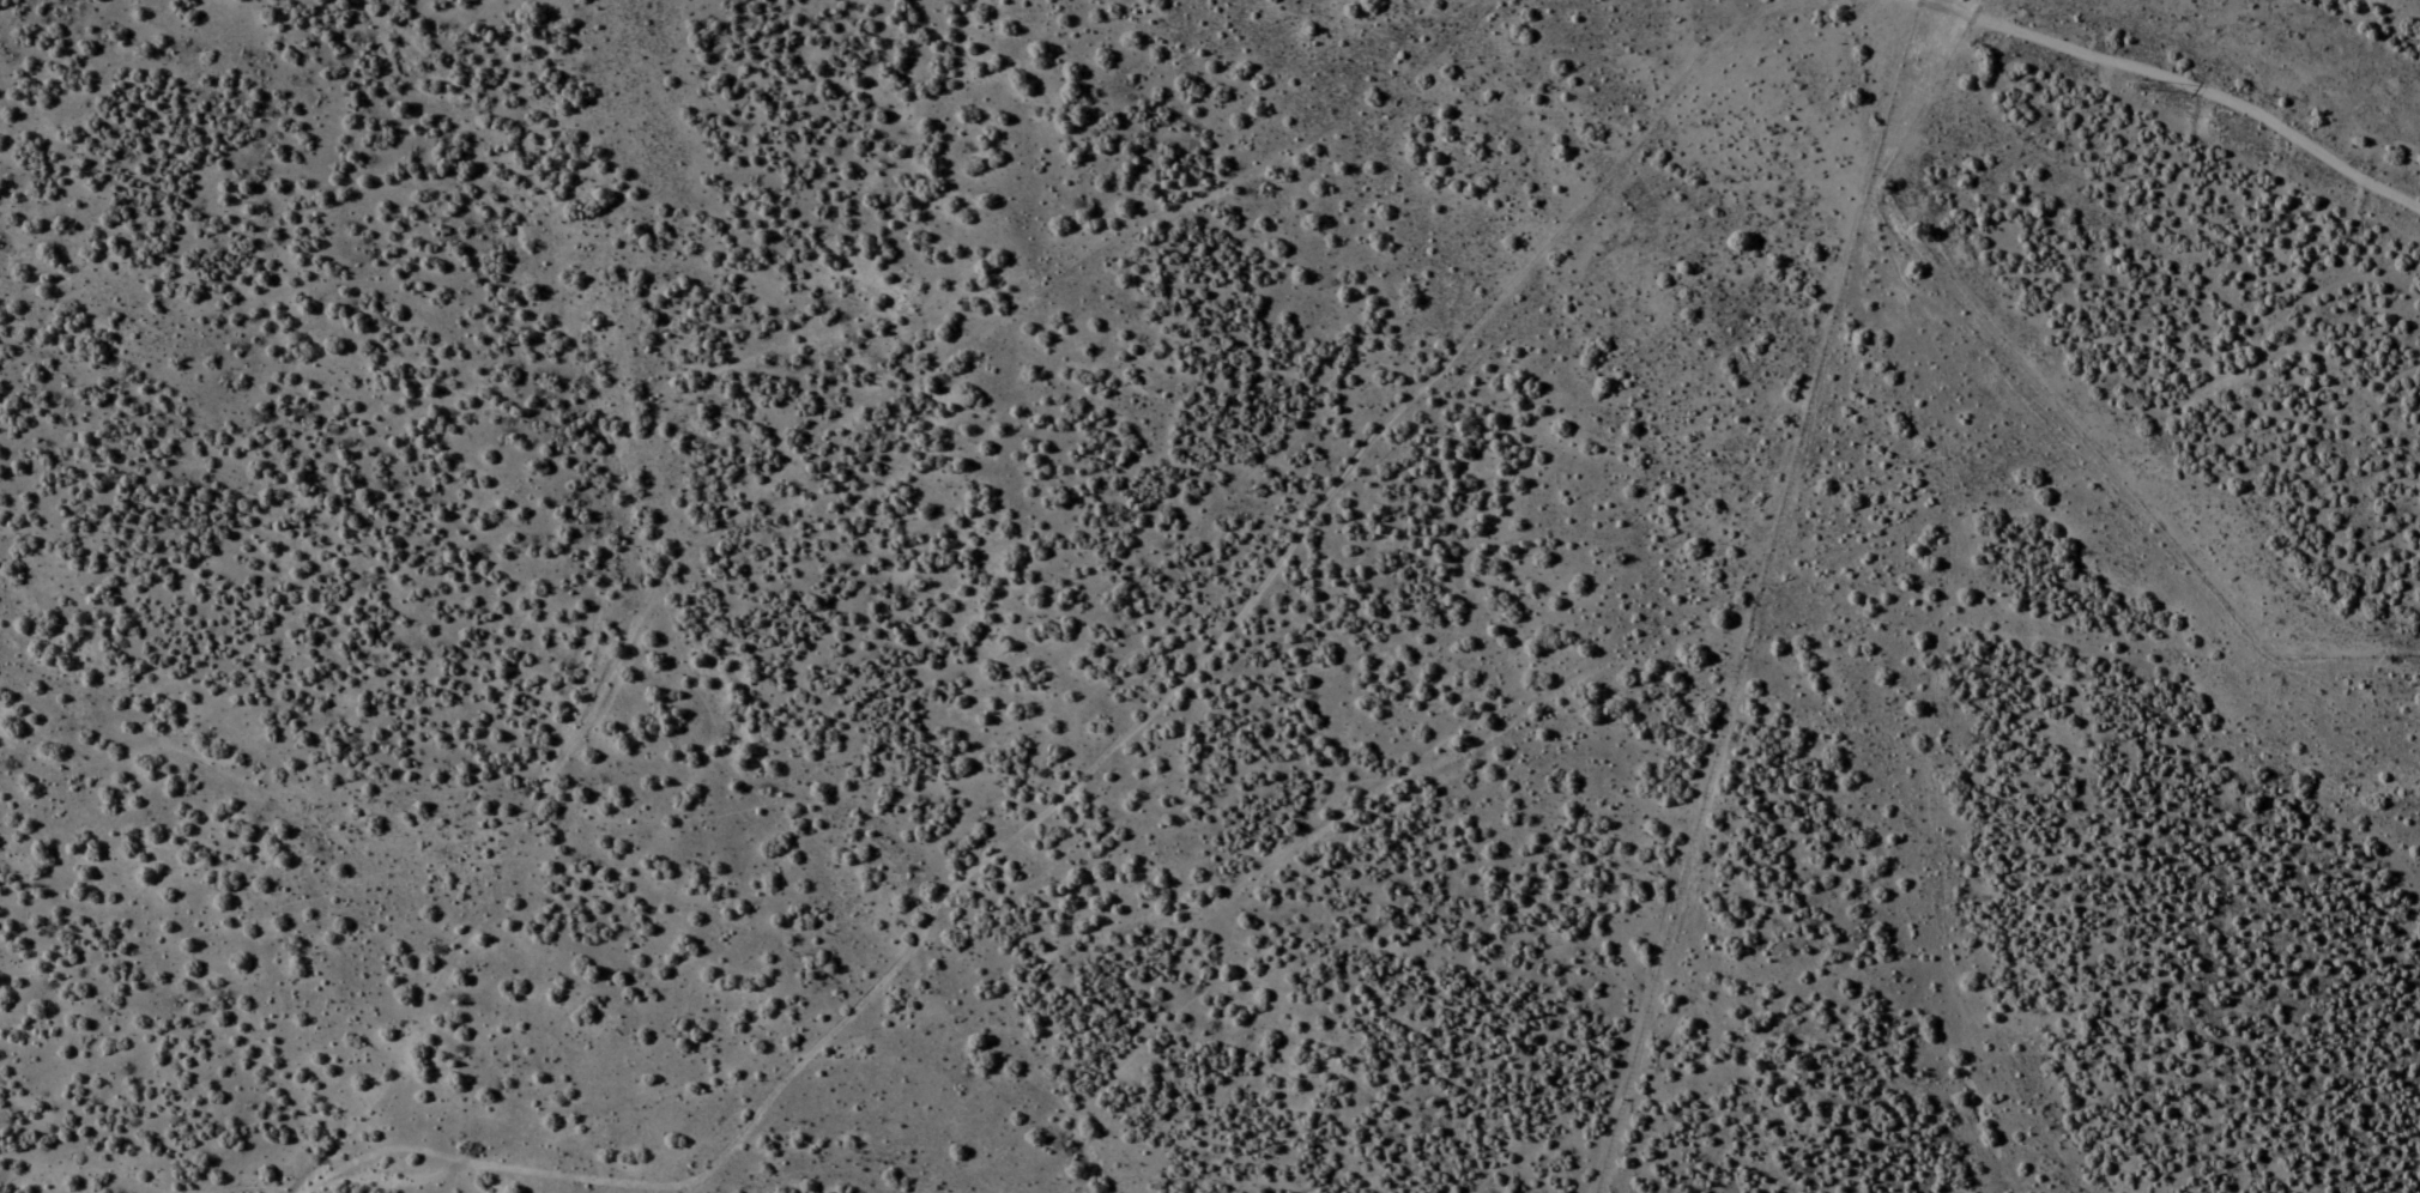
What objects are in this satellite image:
road: (779, 483)
road: (1752, 596)

